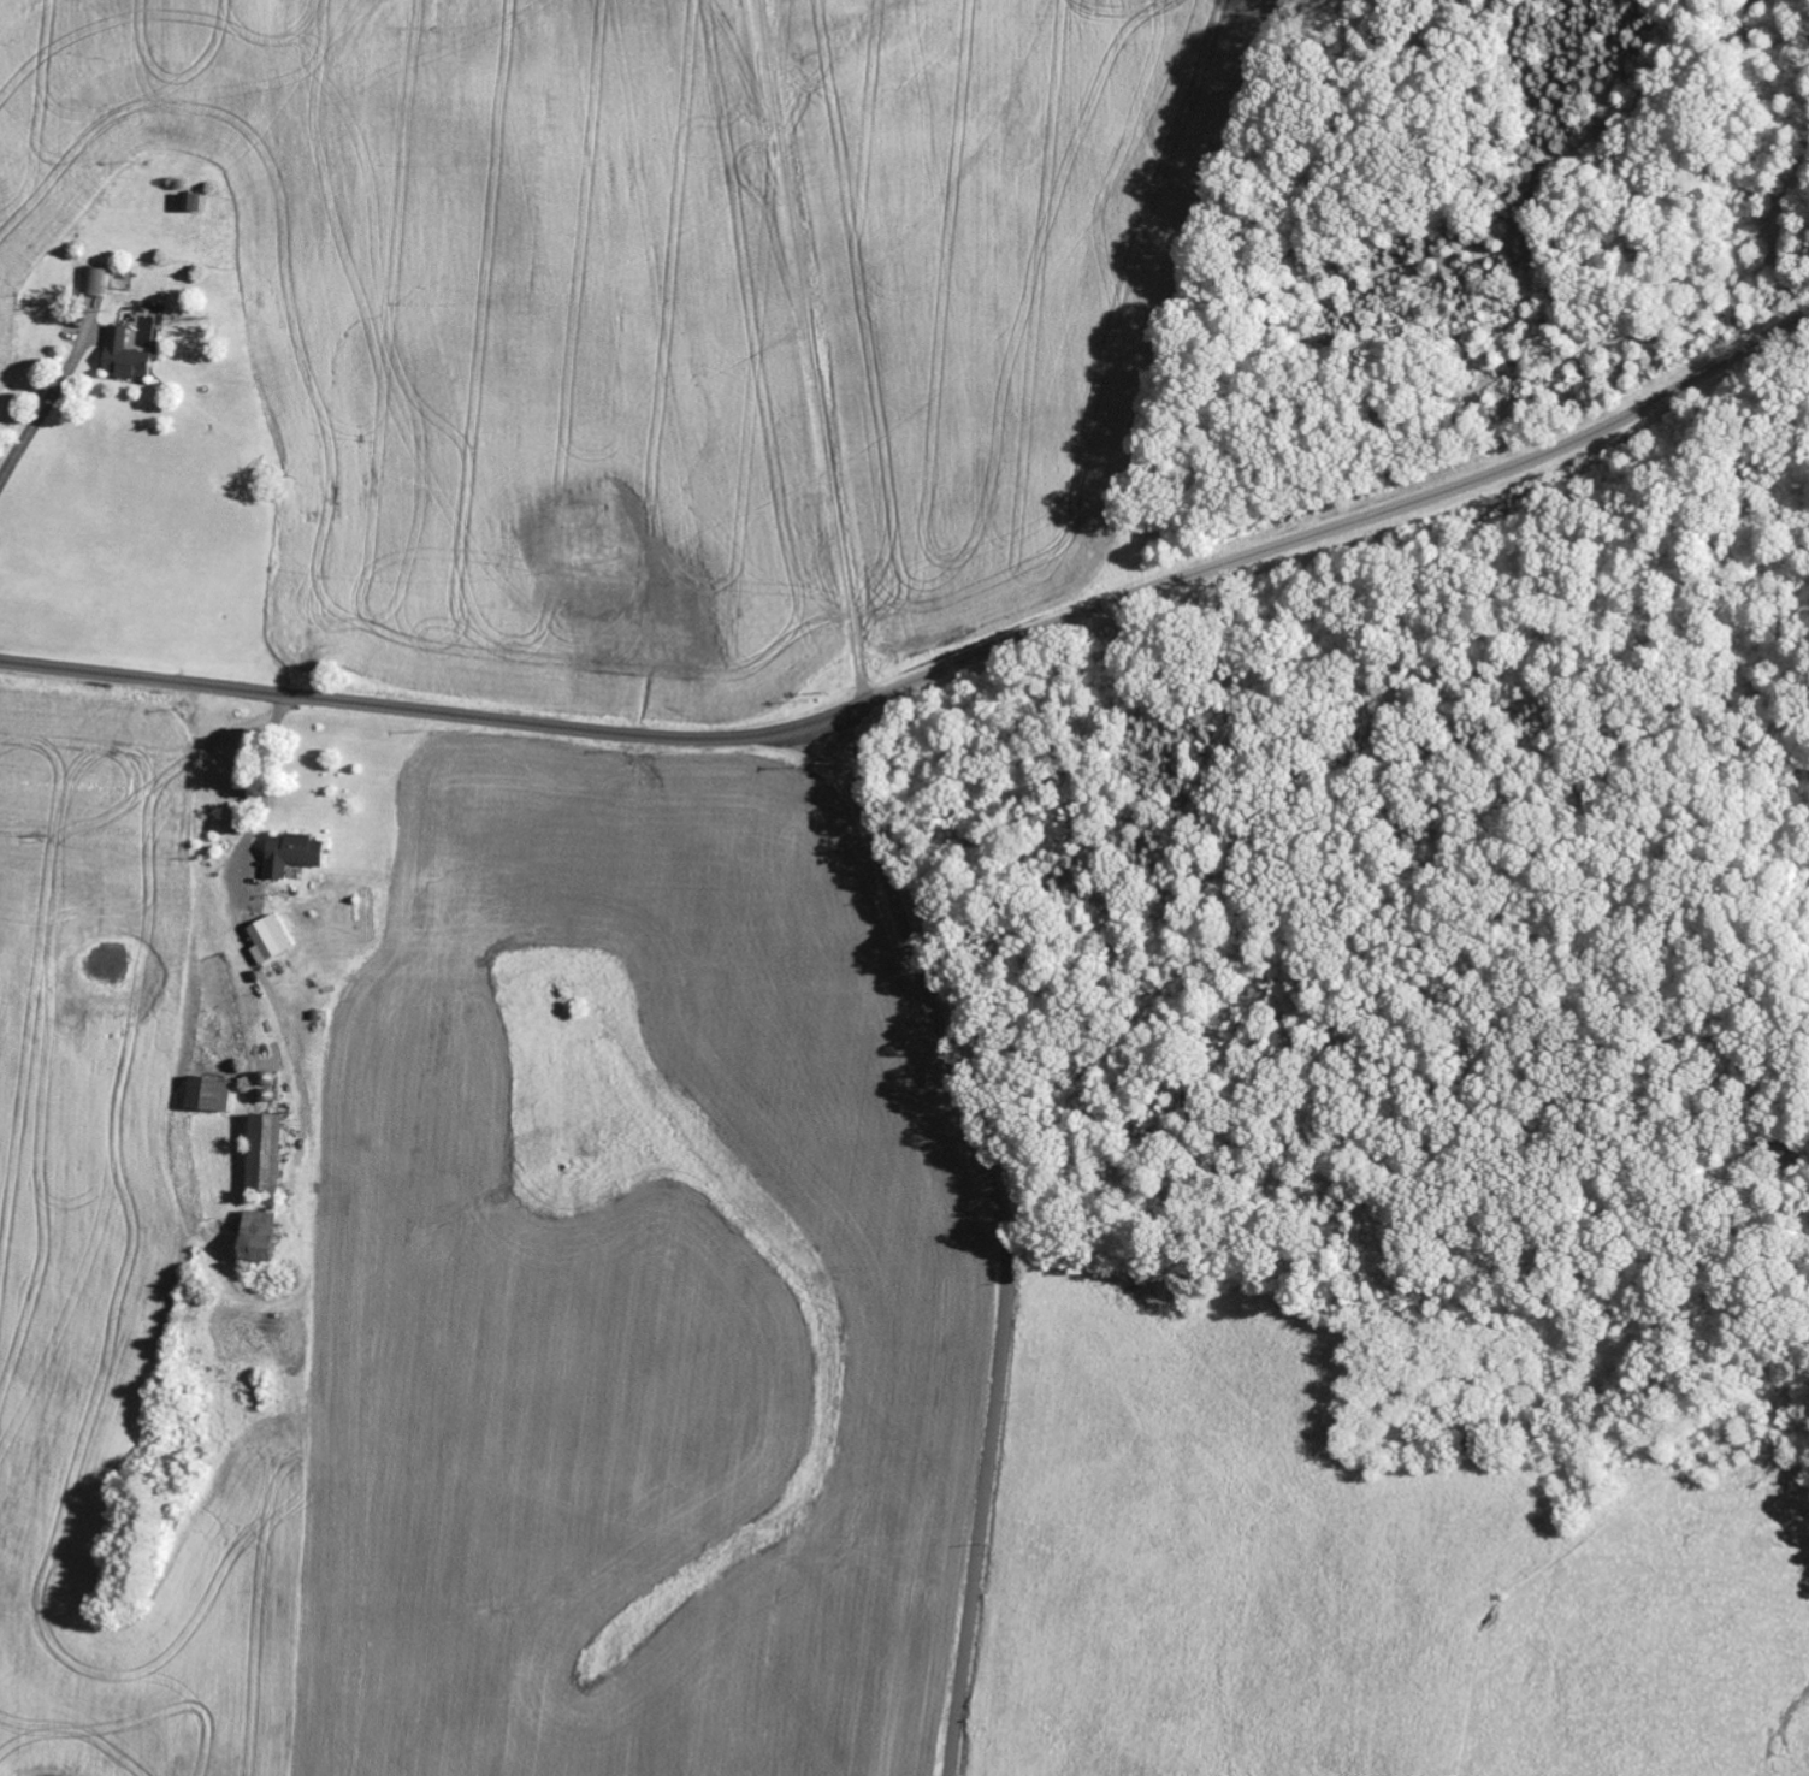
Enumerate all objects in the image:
building: (193, 202)
building: (96, 280)
road: (857, 330)
building: (128, 357)
road: (933, 675)
building: (295, 854)
building: (271, 940)
building: (209, 1094)
building: (267, 1154)
road: (1001, 1235)
building: (262, 1237)
road: (277, 1251)

